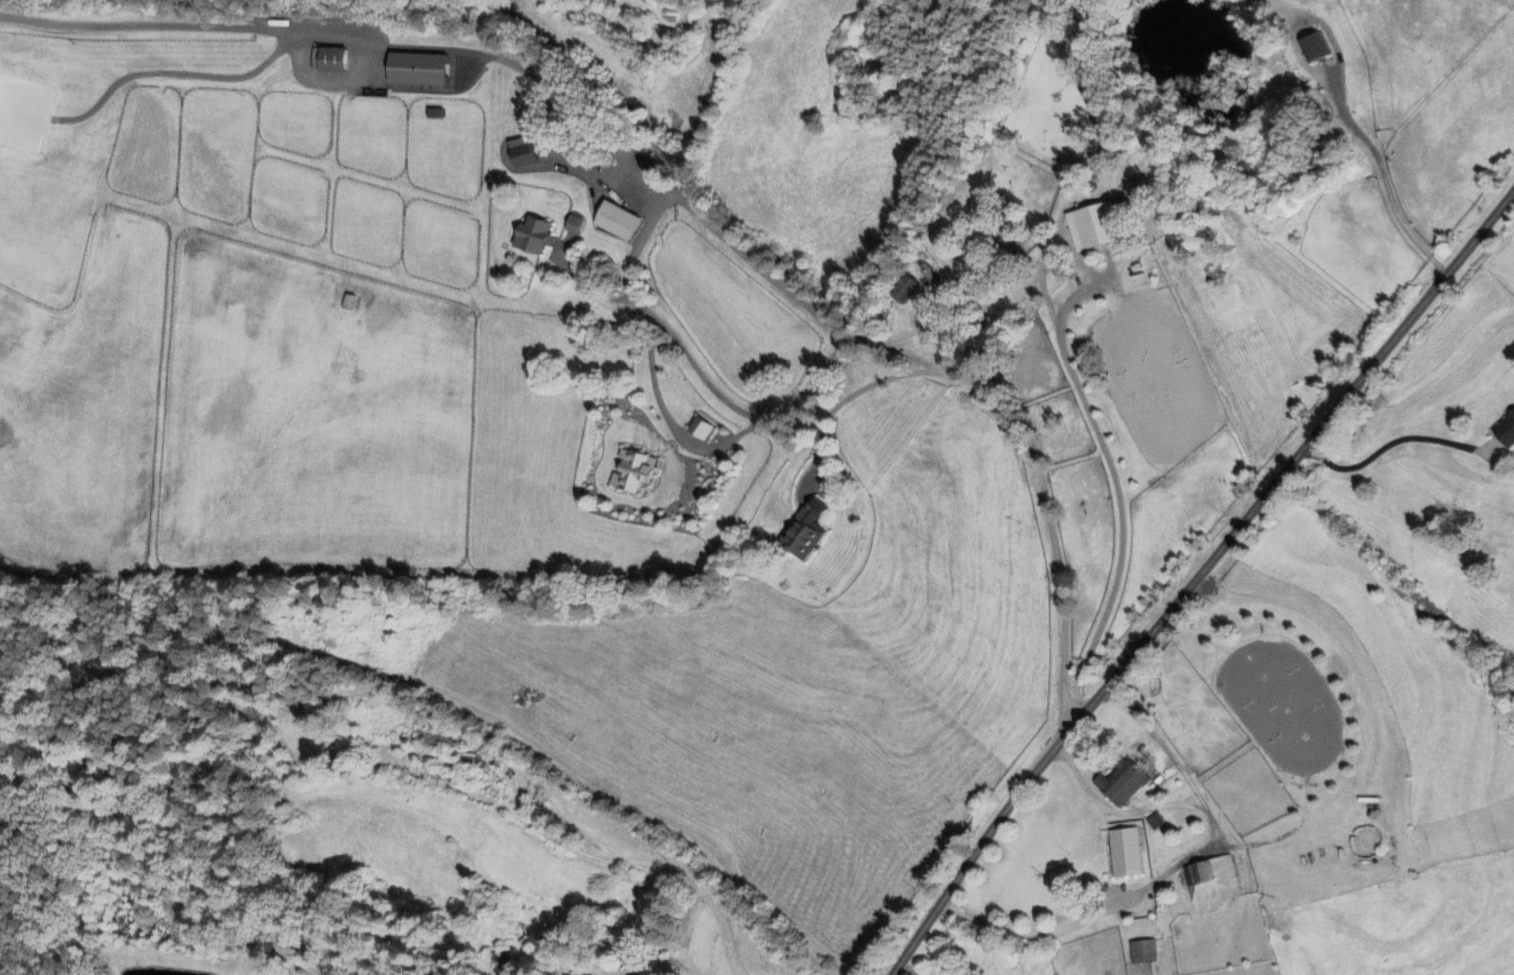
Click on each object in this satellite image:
building: (1314, 48)
building: (332, 61)
building: (417, 71)
road: (576, 106)
building: (521, 153)
road: (1383, 180)
building: (616, 222)
building: (574, 225)
building: (1092, 227)
building: (533, 236)
road: (755, 265)
road: (594, 288)
road: (497, 302)
building: (347, 303)
road: (810, 391)
road: (845, 401)
road: (669, 421)
building: (700, 429)
building: (1506, 432)
road: (1099, 444)
road: (1390, 445)
building: (805, 531)
road: (1194, 577)
road: (1138, 738)
building: (1122, 784)
road: (453, 787)
building: (1125, 854)
road: (639, 863)
road: (1178, 865)
building: (1211, 885)
building: (1143, 953)
building: (500, 964)
building: (640, 971)

